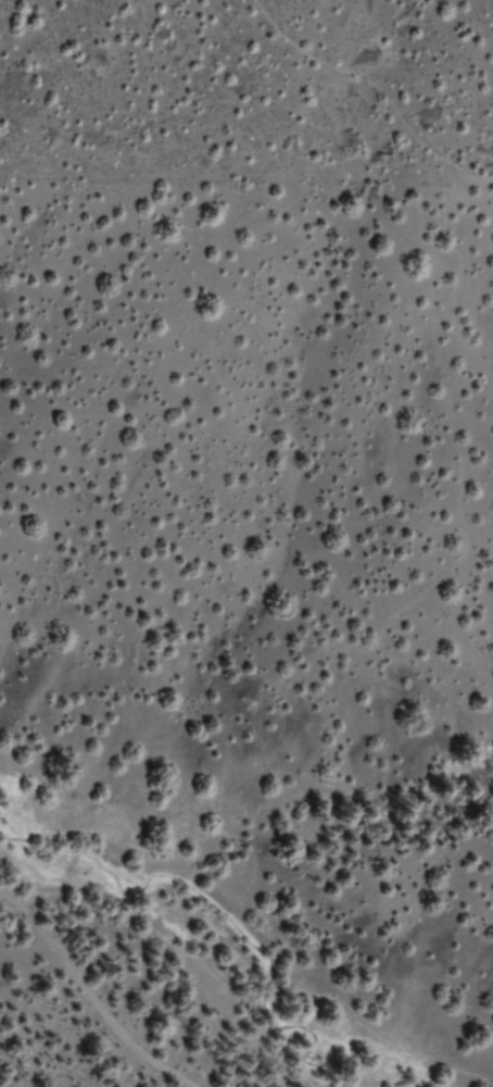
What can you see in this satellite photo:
road: (110, 982)

